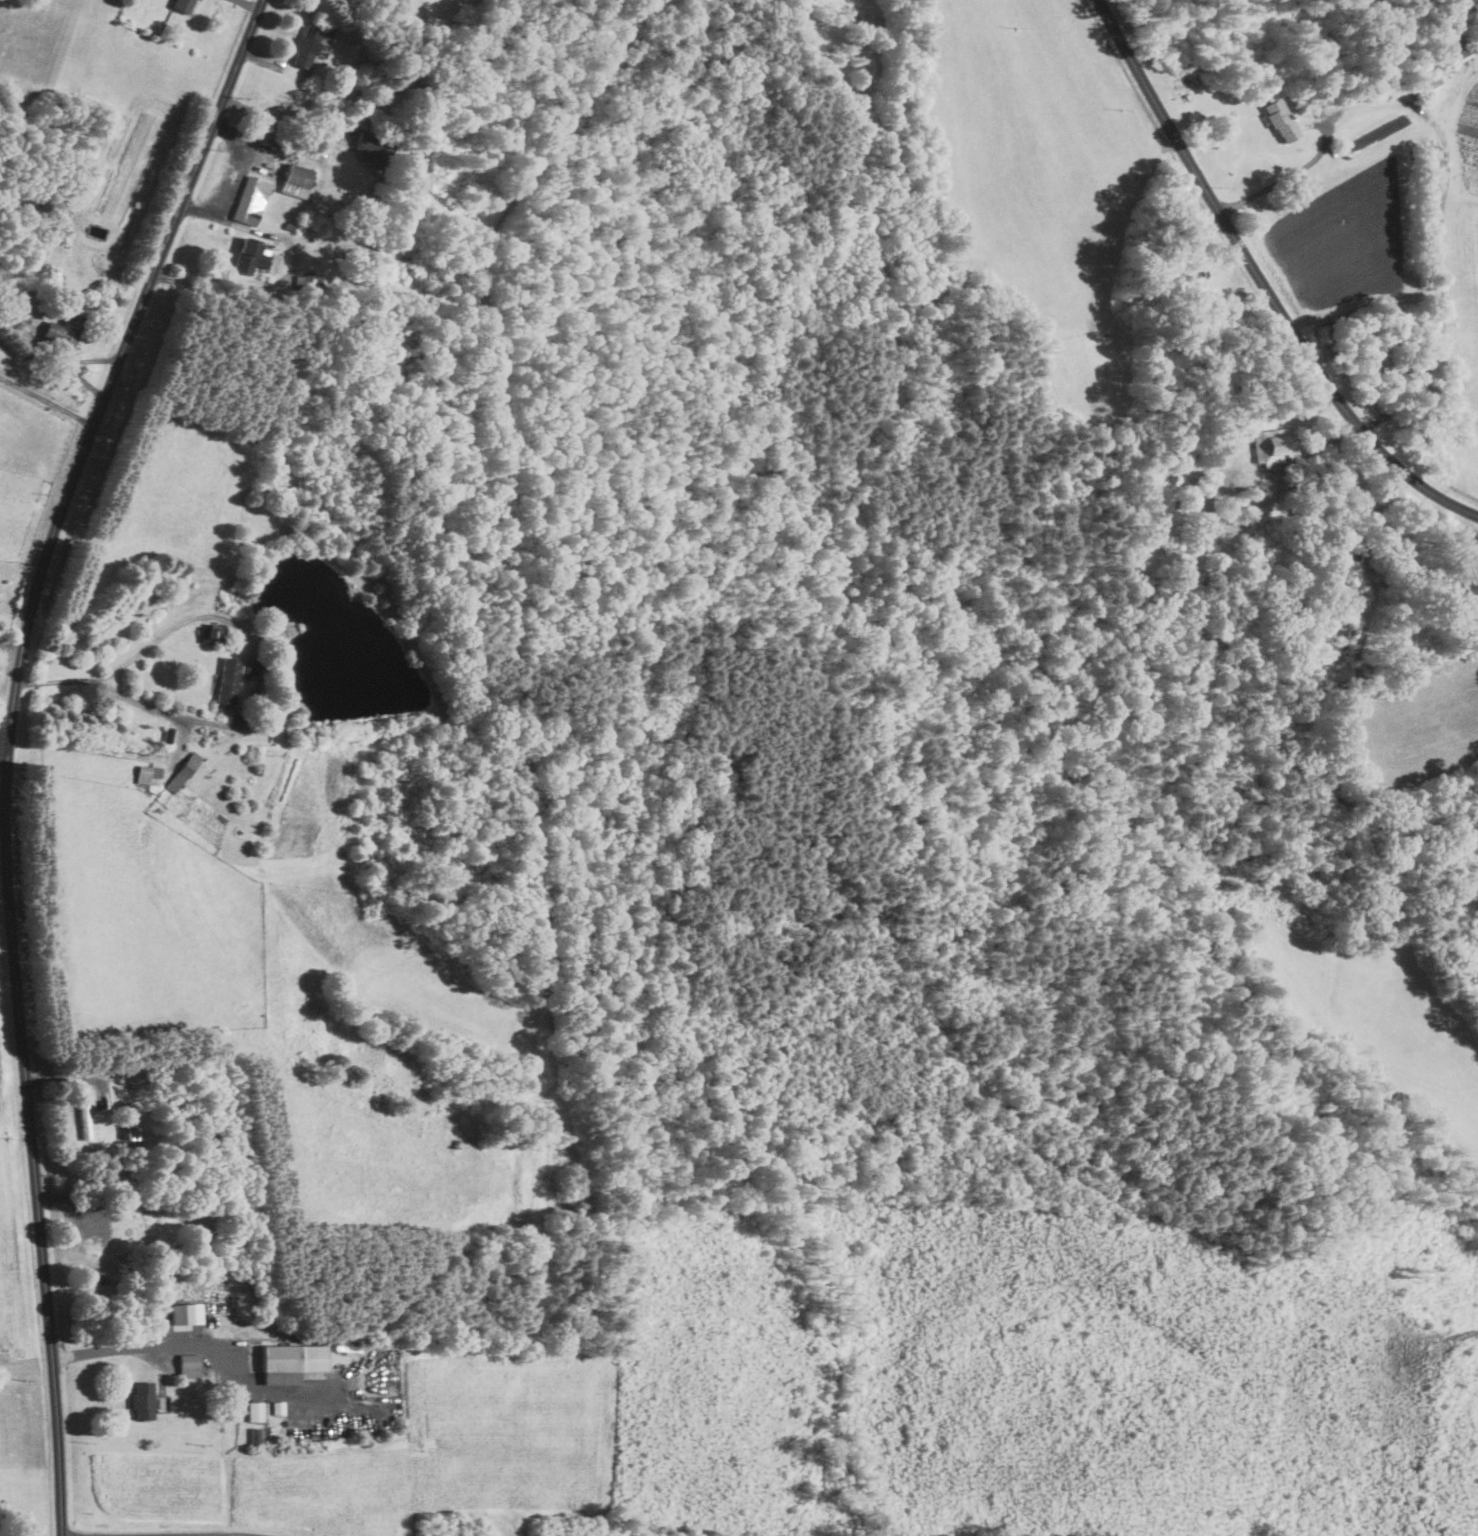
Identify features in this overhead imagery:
building: (184, 5)
building: (307, 48)
building: (1459, 49)
building: (1320, 109)
road: (281, 118)
building: (1282, 121)
building: (375, 149)
road: (245, 165)
road: (1282, 179)
building: (298, 181)
building: (252, 201)
building: (252, 258)
road: (1444, 269)
road: (292, 270)
building: (309, 280)
road: (1262, 282)
building: (65, 329)
building: (1324, 335)
building: (1382, 366)
road: (47, 401)
building: (1278, 446)
building: (212, 634)
building: (229, 680)
road: (276, 715)
road: (6, 747)
road: (3, 749)
building: (184, 771)
building: (149, 774)
building: (132, 1131)
building: (91, 1222)
building: (188, 1314)
road: (199, 1345)
building: (292, 1363)
building: (190, 1365)
building: (144, 1400)
building: (279, 1408)
building: (256, 1411)
building: (256, 1435)
road: (160, 1535)

